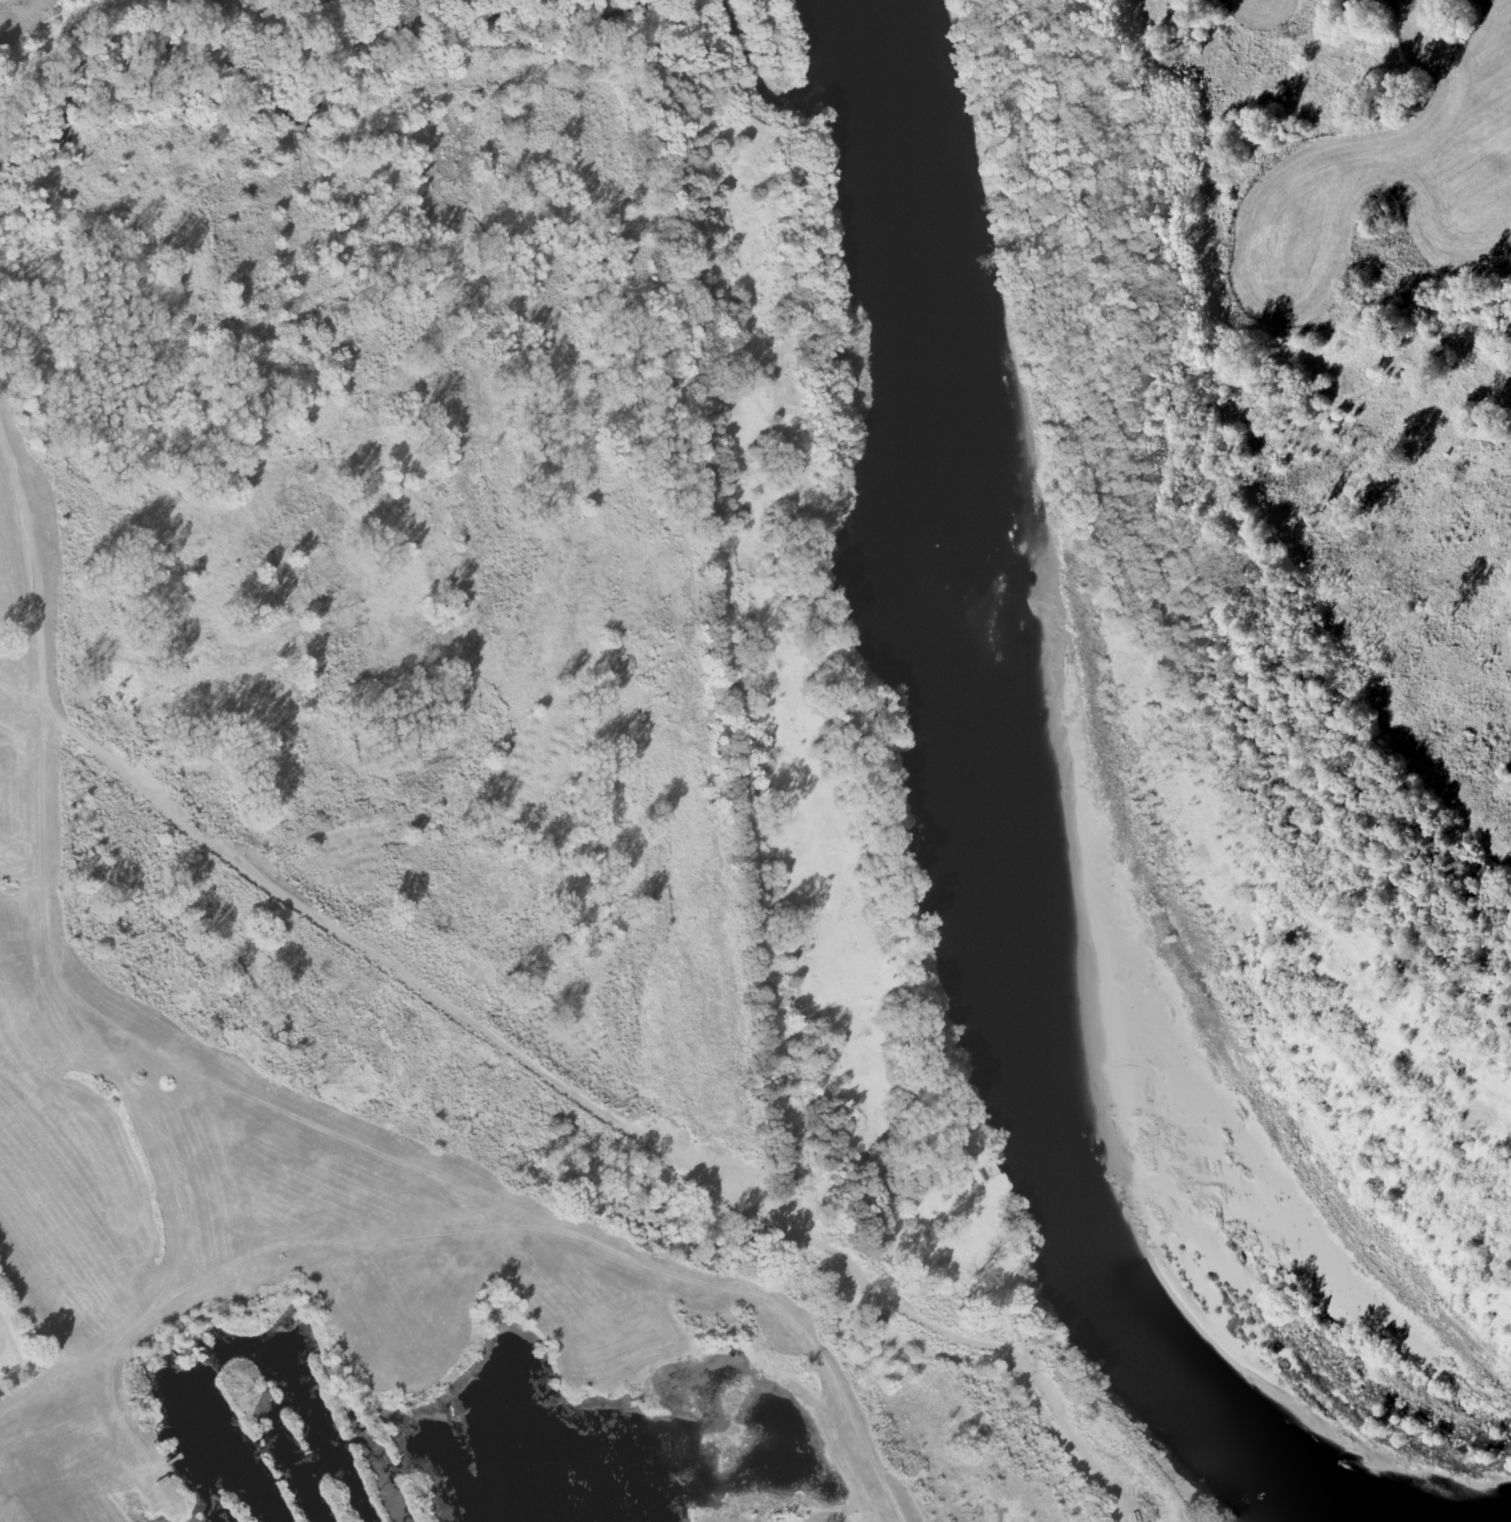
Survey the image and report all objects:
river: (1043, 816)
building: (876, 1323)

